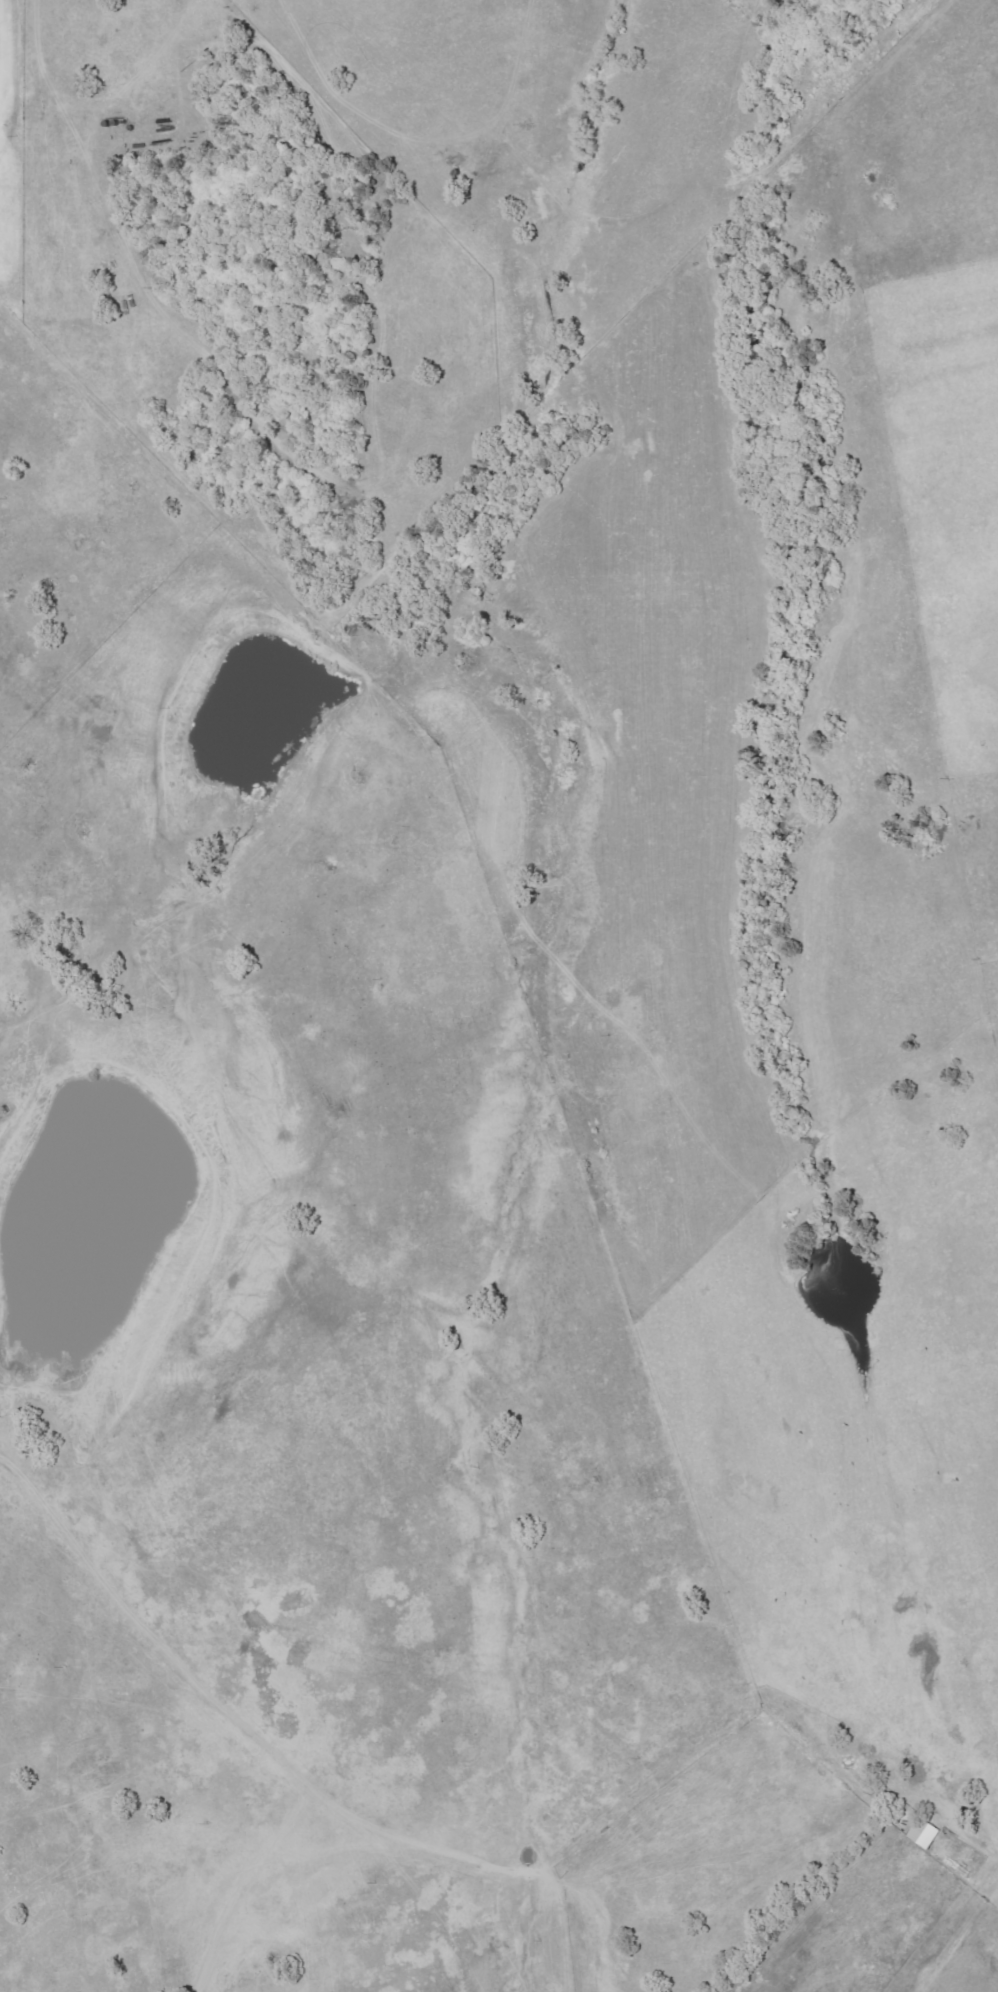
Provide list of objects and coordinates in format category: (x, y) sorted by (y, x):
building: (925, 1832)

